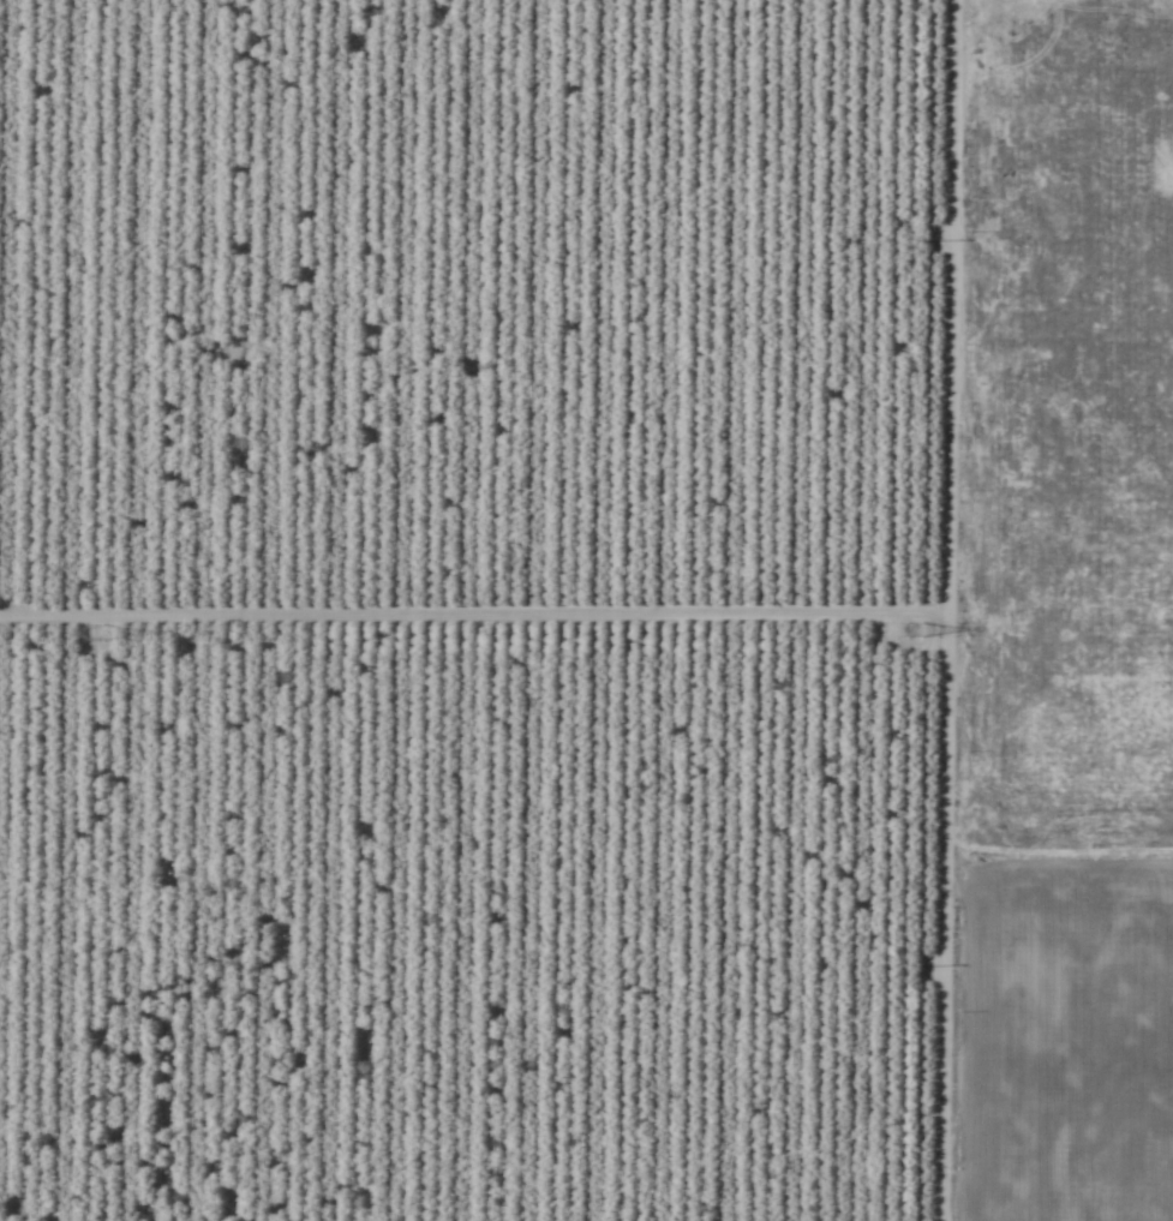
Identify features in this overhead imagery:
road: (947, 610)

